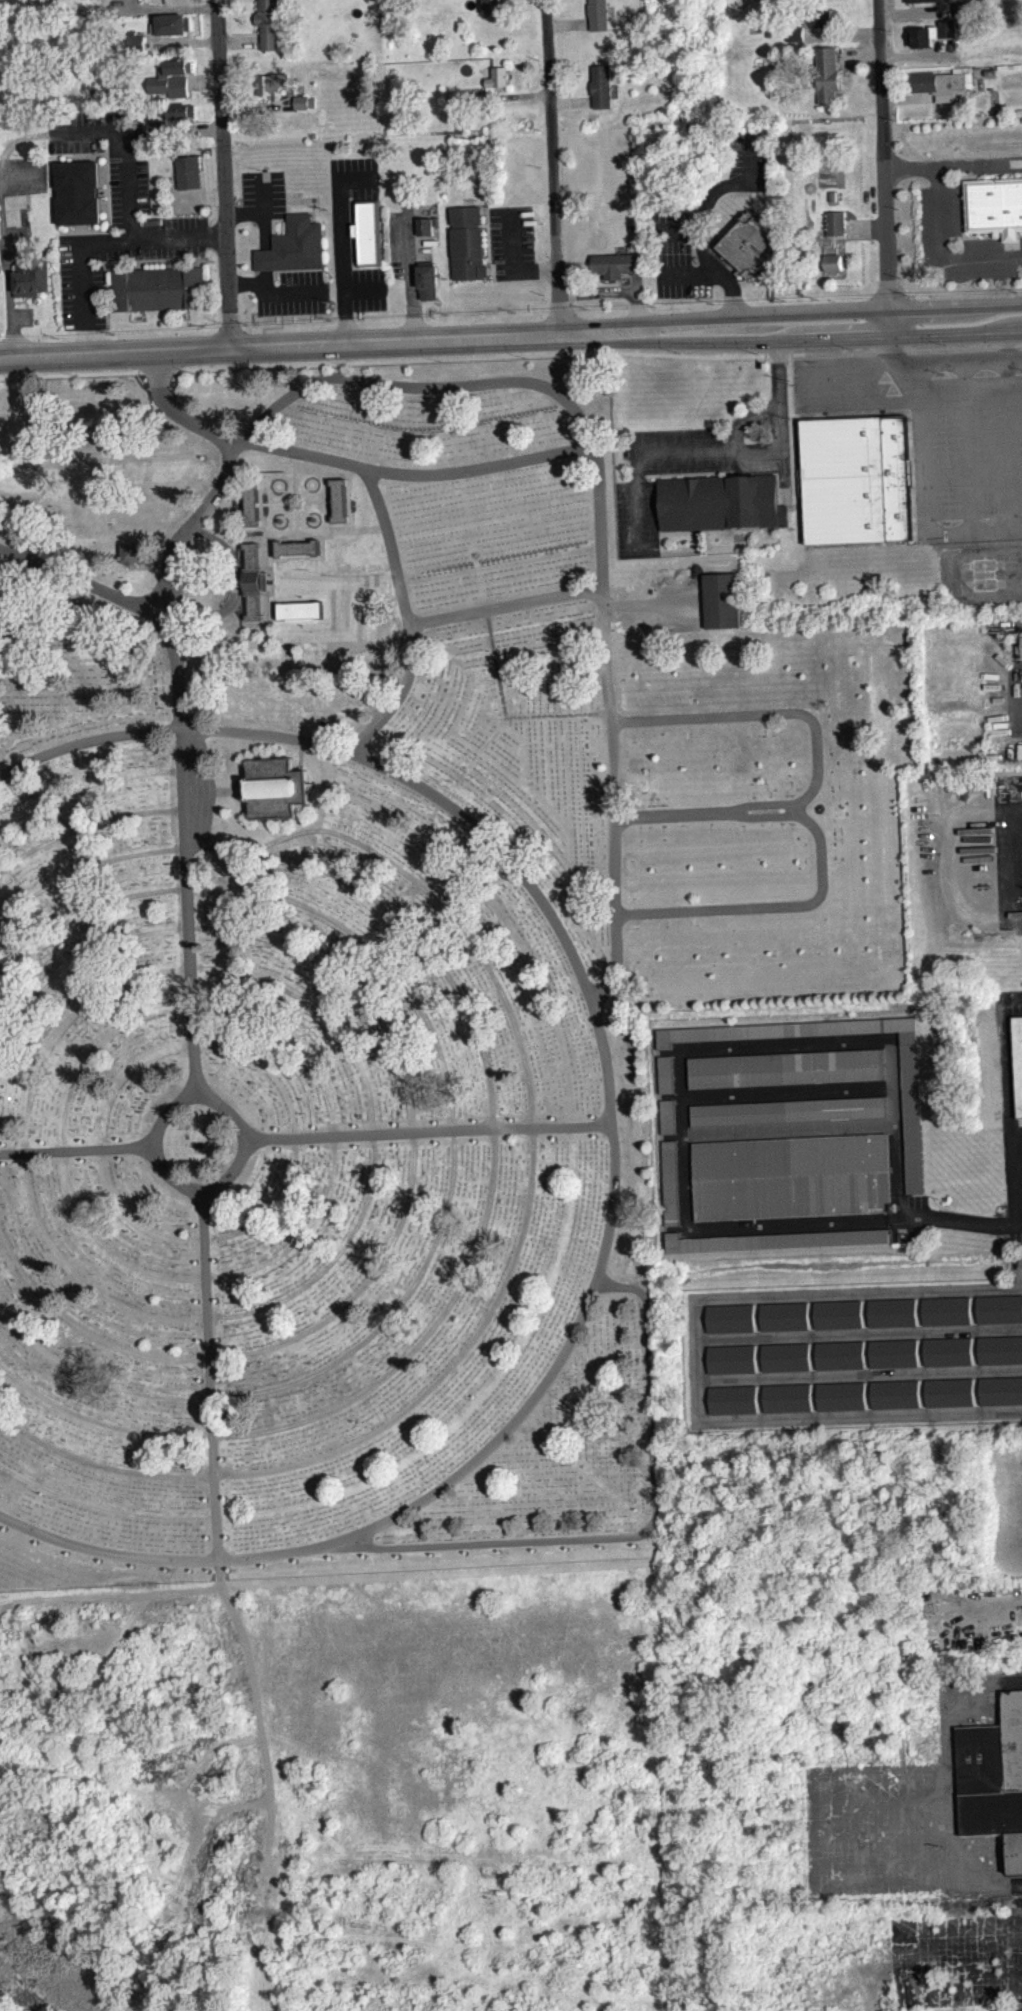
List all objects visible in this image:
building: (918, 0)
building: (124, 1)
road: (137, 3)
road: (153, 6)
building: (494, 7)
building: (961, 7)
road: (915, 10)
building: (598, 14)
building: (820, 17)
building: (269, 22)
road: (569, 22)
building: (174, 24)
building: (820, 26)
road: (841, 33)
building: (932, 33)
building: (796, 34)
road: (240, 38)
building: (136, 40)
road: (181, 41)
road: (918, 53)
road: (857, 55)
building: (176, 68)
building: (828, 75)
building: (498, 76)
road: (203, 81)
building: (944, 83)
building: (272, 84)
building: (170, 85)
building: (601, 85)
building: (453, 95)
building: (466, 95)
road: (512, 95)
road: (905, 98)
building: (301, 101)
road: (572, 101)
road: (257, 105)
building: (306, 109)
building: (179, 111)
building: (183, 120)
road: (193, 126)
building: (157, 128)
road: (126, 147)
parking lot: (750, 152)
road: (553, 165)
road: (883, 167)
building: (189, 171)
road: (223, 172)
parking lot: (354, 176)
road: (719, 191)
building: (79, 192)
parking lot: (262, 194)
building: (832, 195)
building: (995, 206)
building: (14, 207)
road: (262, 210)
building: (836, 222)
road: (940, 224)
road: (865, 225)
building: (425, 226)
road: (2, 229)
road: (264, 230)
building: (368, 232)
parking lot: (958, 239)
road: (107, 240)
parking lot: (512, 240)
parking lot: (402, 242)
building: (468, 242)
parking lot: (120, 243)
road: (342, 243)
building: (749, 244)
building: (295, 246)
parking lot: (682, 251)
road: (512, 261)
building: (833, 262)
building: (617, 264)
road: (711, 273)
road: (409, 275)
building: (33, 278)
building: (428, 280)
building: (159, 288)
parking lot: (360, 289)
road: (362, 289)
parking lot: (290, 292)
road: (271, 293)
road: (790, 312)
road: (790, 339)
road: (280, 343)
road: (511, 354)
road: (834, 363)
road: (486, 383)
parking lot: (940, 428)
road: (1006, 429)
road: (918, 431)
road: (235, 445)
road: (966, 445)
road: (472, 471)
road: (296, 475)
building: (858, 479)
building: (721, 502)
building: (339, 503)
road: (318, 504)
road: (348, 504)
road: (275, 505)
building: (251, 506)
road: (302, 509)
road: (298, 527)
road: (242, 530)
road: (973, 531)
road: (332, 538)
road: (264, 539)
building: (297, 550)
building: (131, 553)
road: (298, 557)
road: (11, 584)
road: (86, 585)
road: (237, 588)
building: (257, 589)
building: (722, 599)
road: (507, 608)
building: (1021, 644)
road: (178, 694)
road: (505, 717)
road: (817, 756)
building: (274, 785)
road: (87, 788)
road: (86, 828)
road: (1014, 866)
road: (770, 907)
park: (376, 961)
building: (1018, 1056)
building: (784, 1067)
building: (664, 1073)
building: (787, 1110)
building: (666, 1115)
building: (911, 1120)
road: (430, 1133)
road: (495, 1144)
road: (415, 1145)
road: (455, 1145)
road: (615, 1146)
road: (77, 1151)
building: (790, 1176)
building: (669, 1182)
road: (1018, 1182)
road: (205, 1194)
road: (204, 1238)
building: (773, 1239)
building: (775, 1248)
road: (511, 1270)
road: (206, 1279)
building: (999, 1307)
building: (945, 1309)
building: (892, 1311)
building: (838, 1313)
building: (784, 1315)
building: (729, 1317)
road: (208, 1318)
building: (999, 1348)
building: (947, 1350)
building: (893, 1351)
building: (839, 1353)
building: (786, 1355)
building: (731, 1357)
road: (210, 1377)
building: (1000, 1389)
building: (948, 1391)
building: (894, 1392)
building: (841, 1394)
building: (787, 1396)
building: (733, 1398)
road: (370, 1538)
road: (623, 1539)
building: (993, 1778)
road: (921, 1788)

